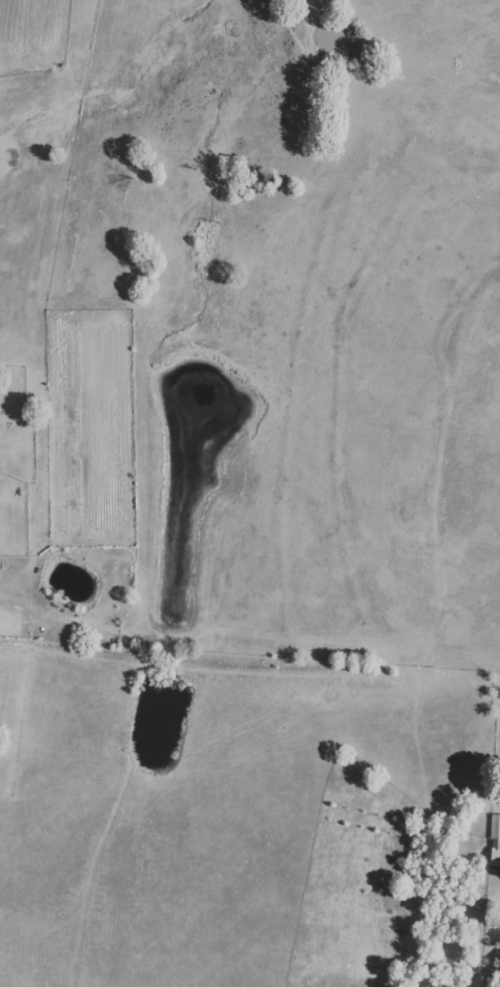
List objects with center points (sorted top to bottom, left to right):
building: (495, 840)
road: (494, 959)

